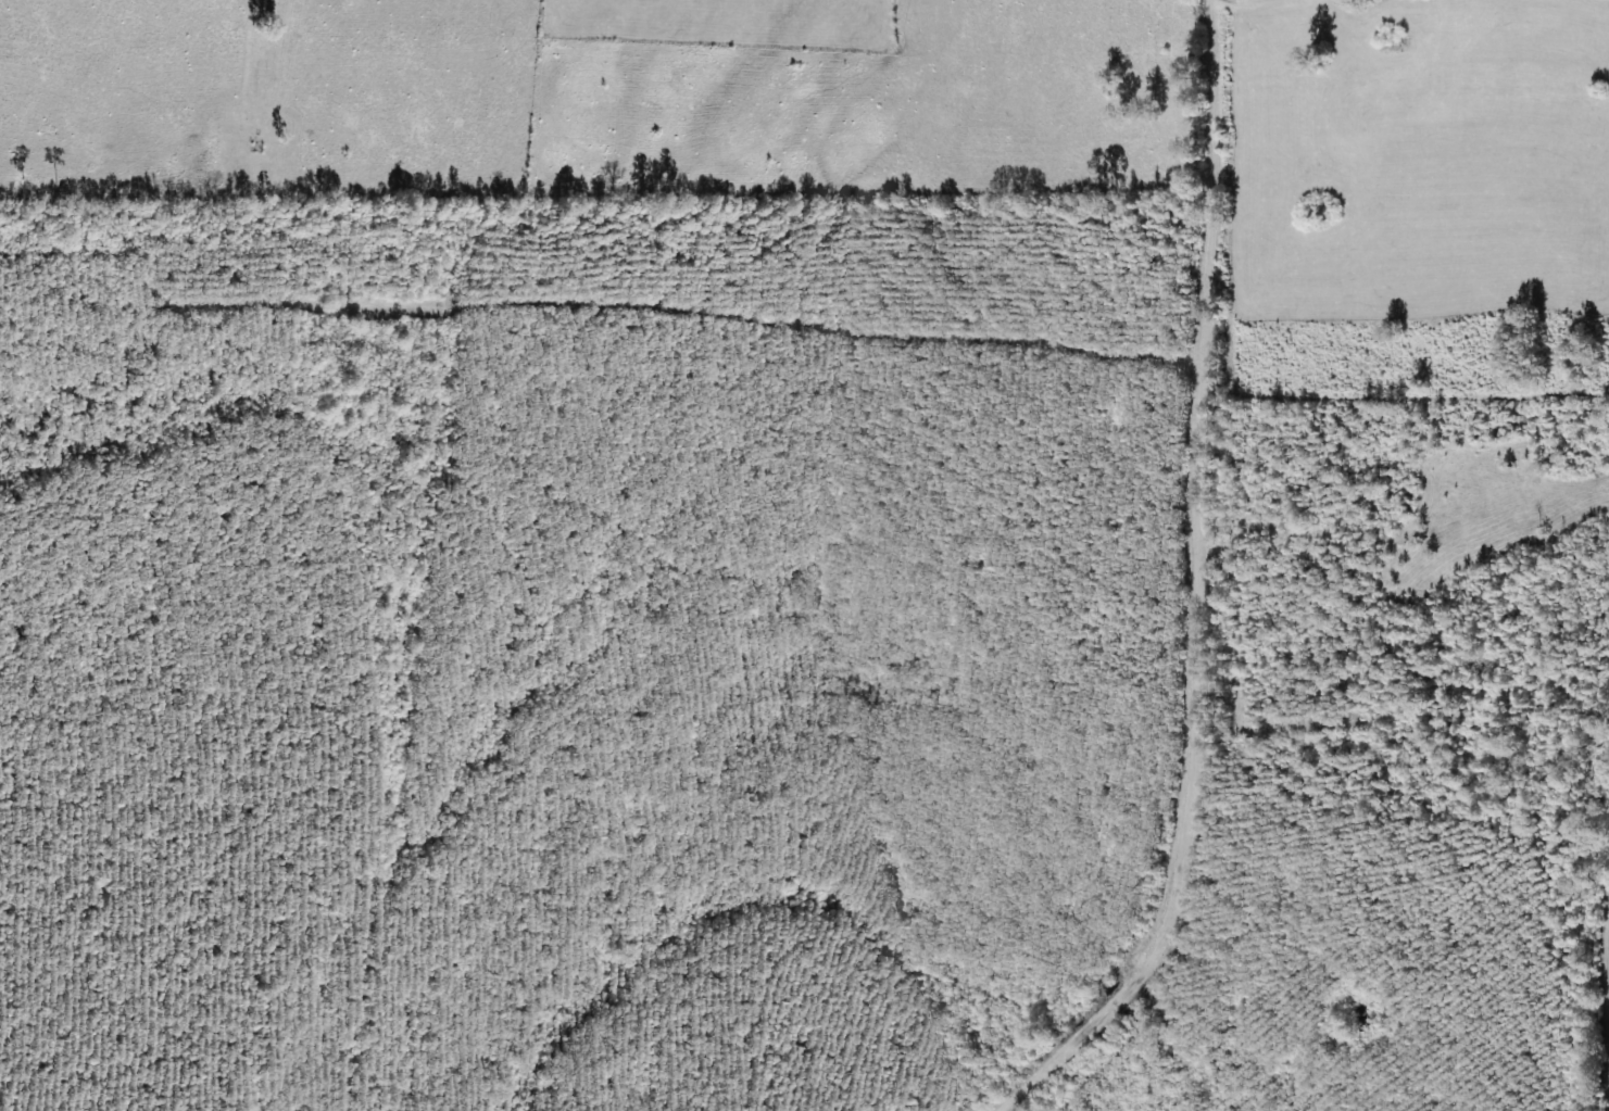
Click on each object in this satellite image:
road: (1600, 1)
road: (1267, 30)
road: (1192, 606)

